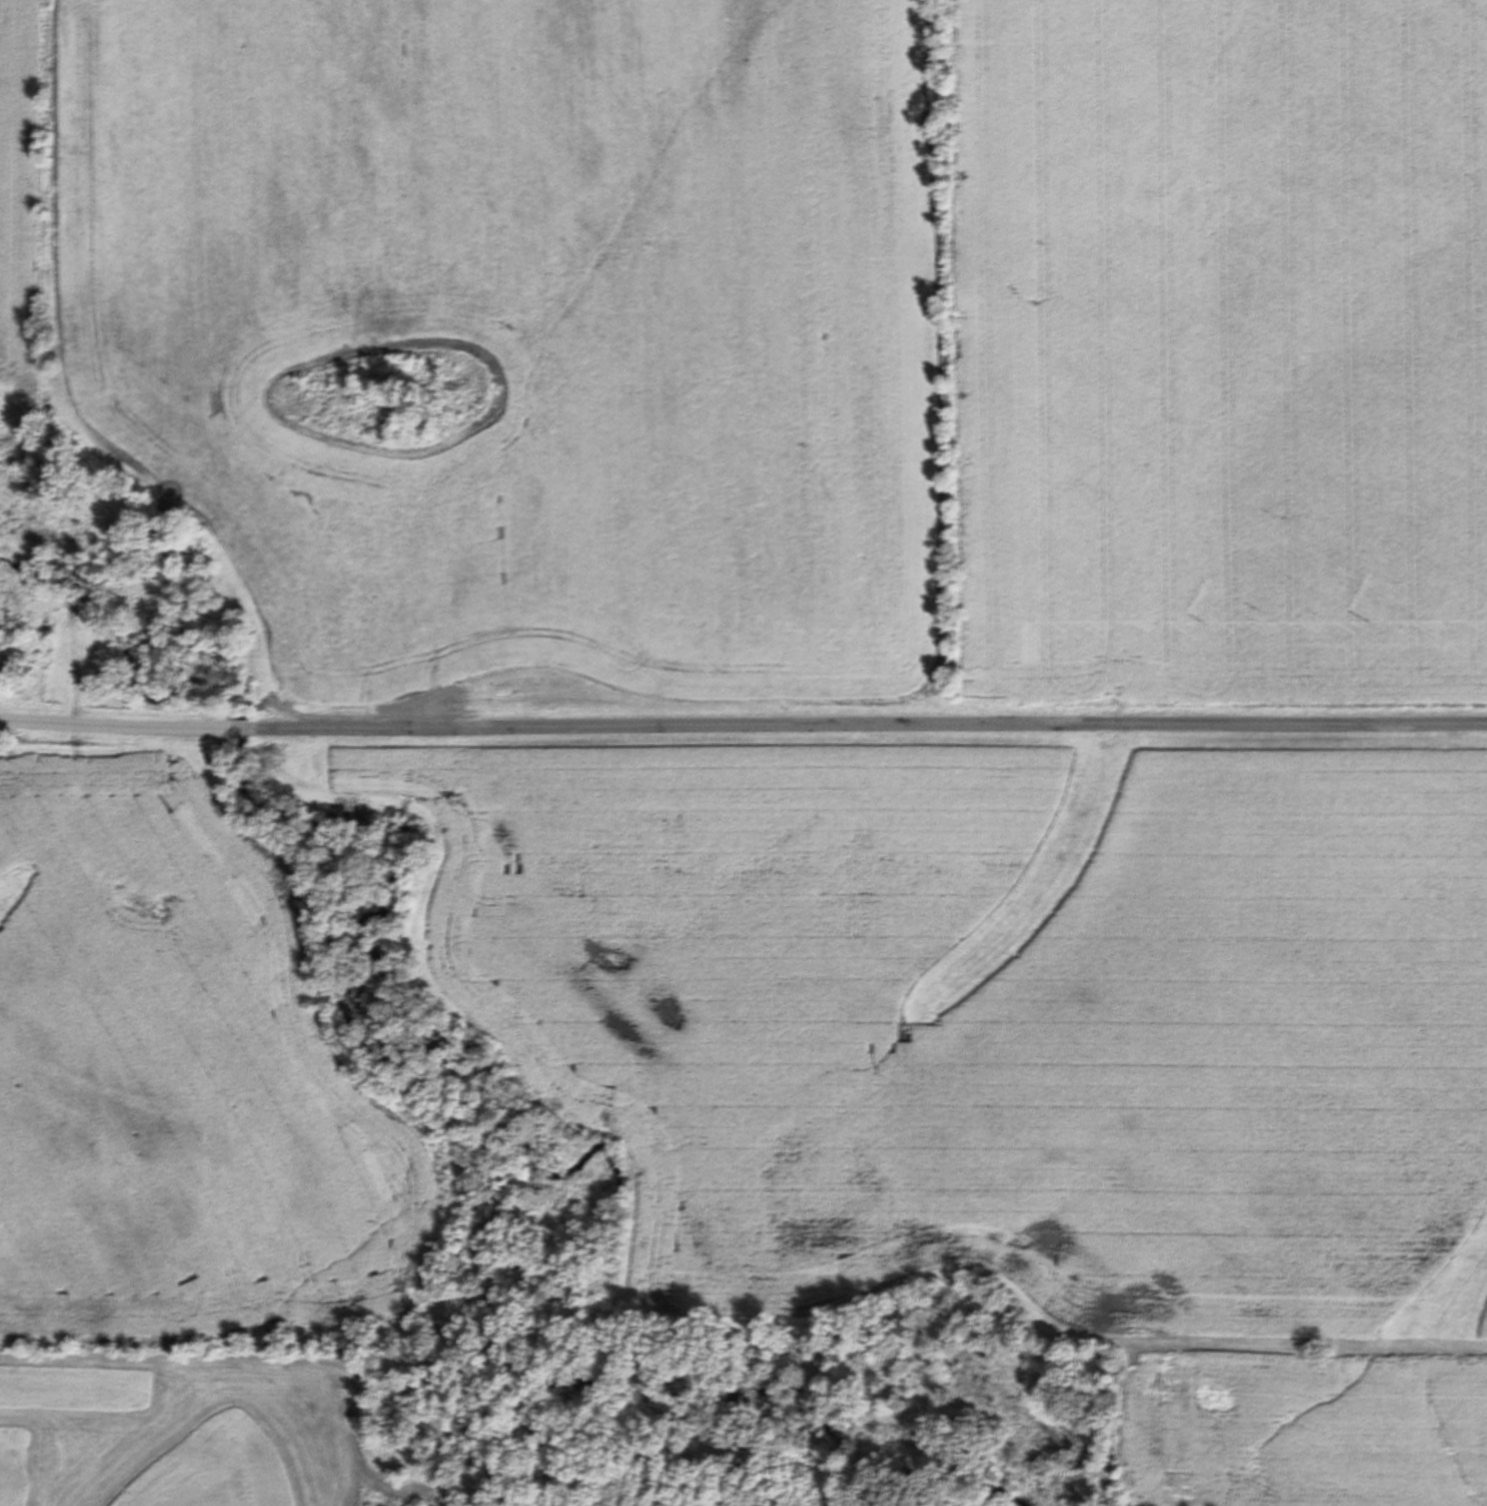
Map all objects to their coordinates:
road: (743, 729)
road: (242, 1337)

